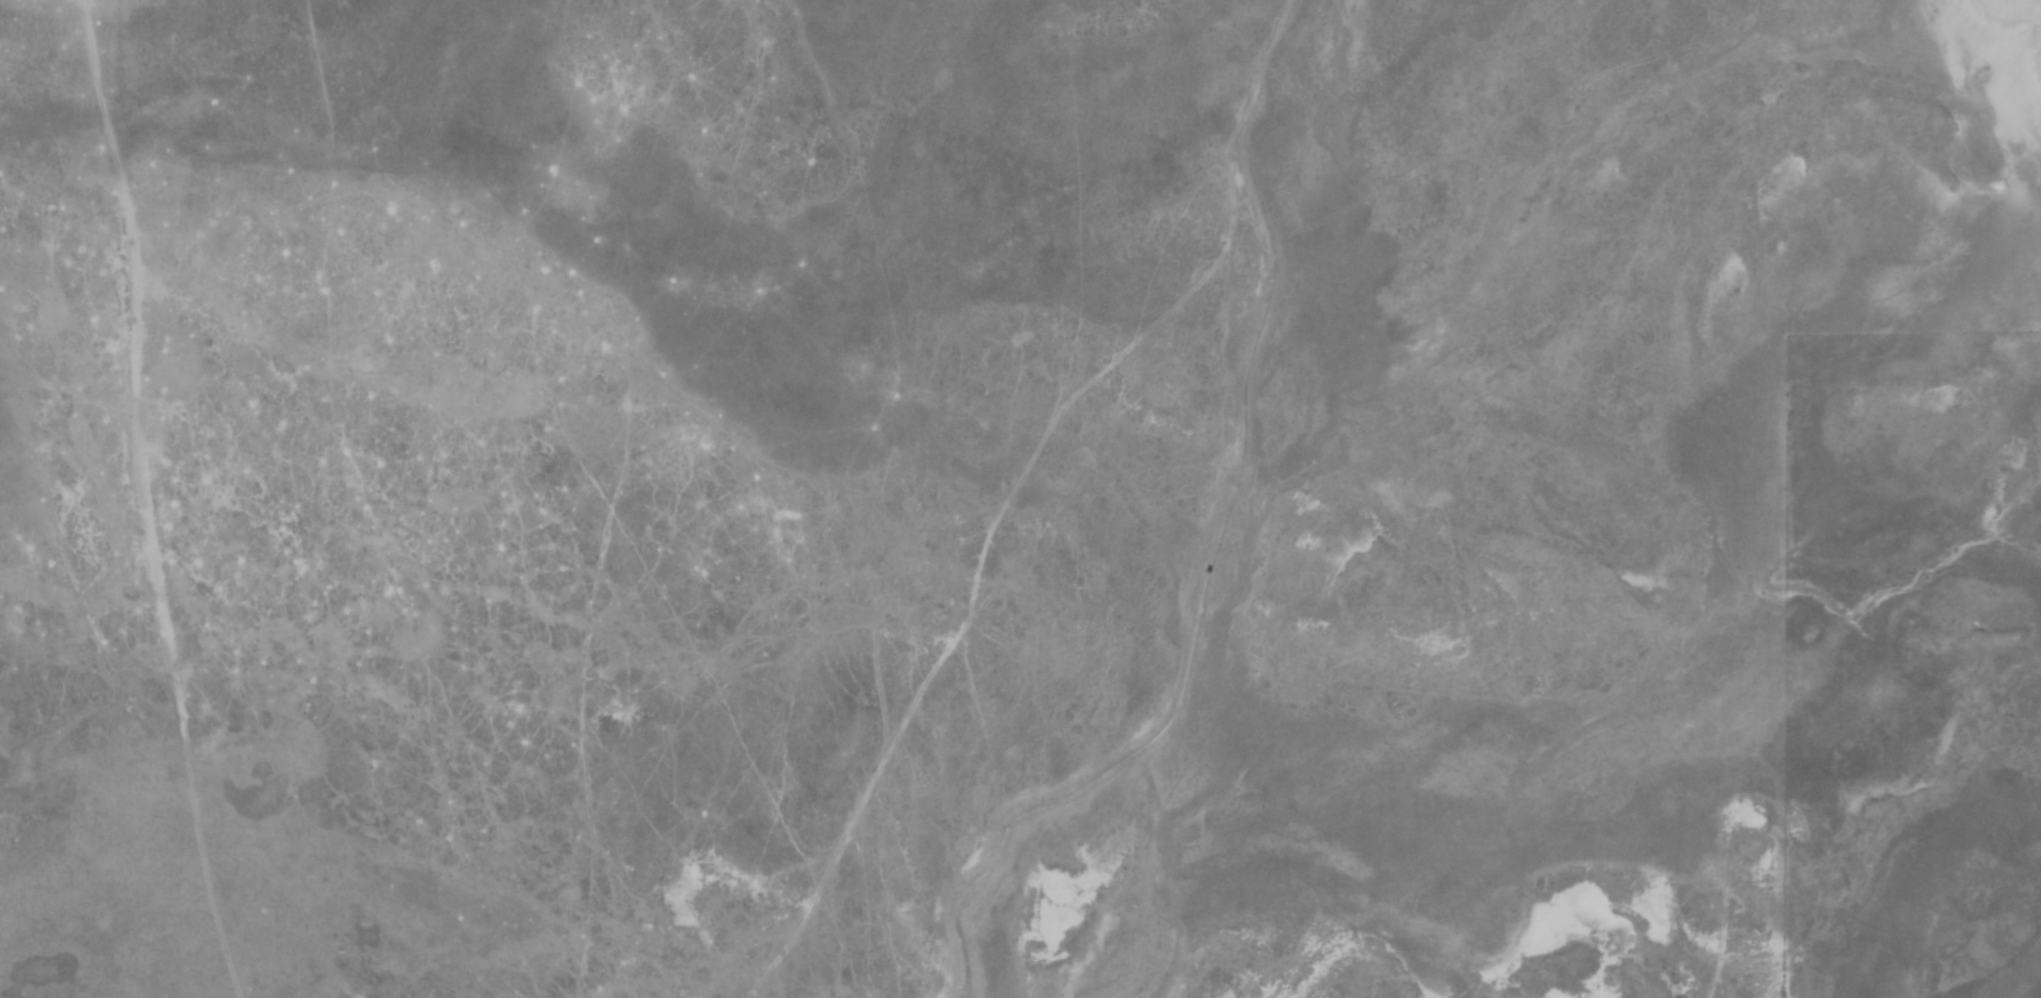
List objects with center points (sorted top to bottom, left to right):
road: (158, 501)

